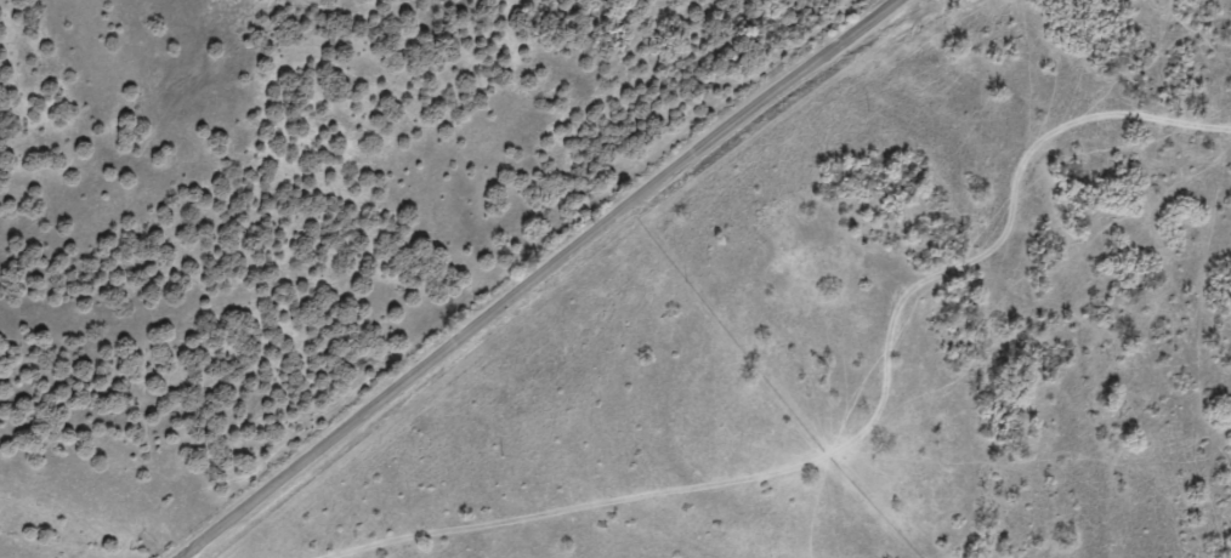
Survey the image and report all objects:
road: (565, 279)
road: (802, 420)

